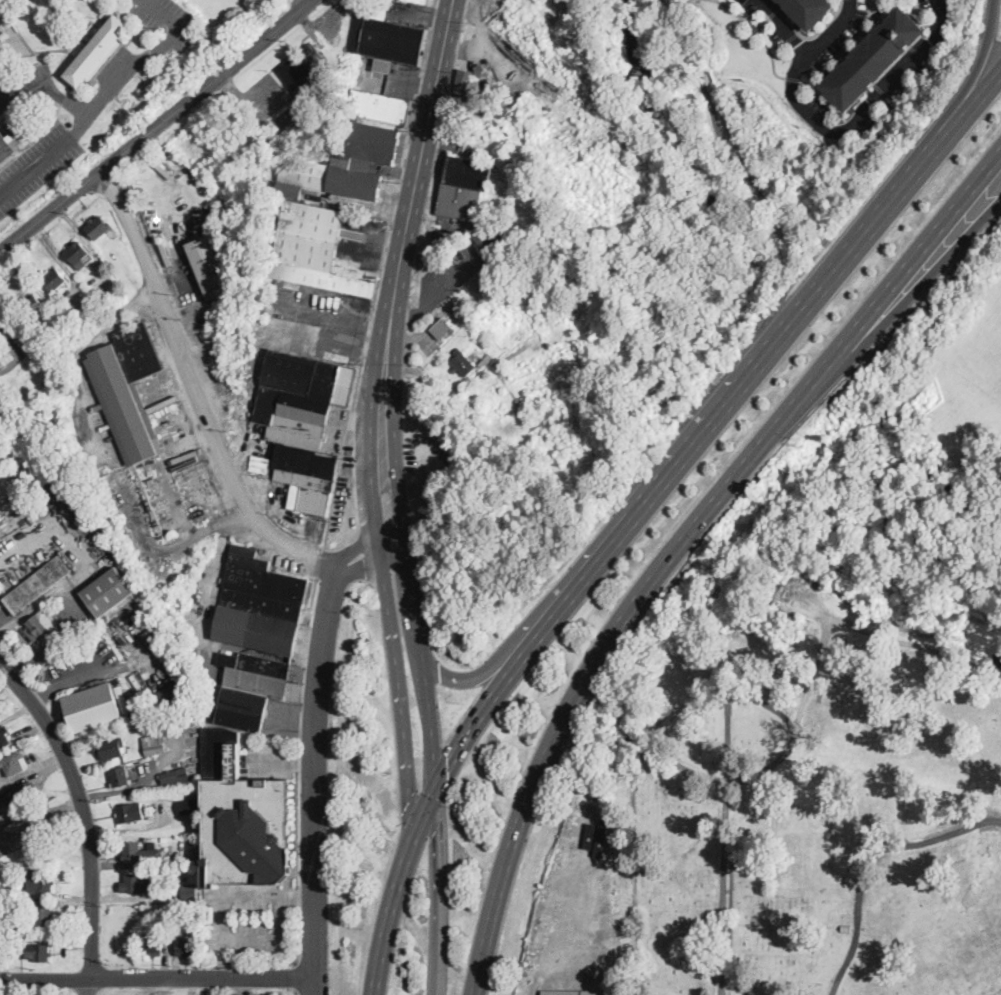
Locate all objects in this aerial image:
building: (421, 1)
building: (809, 10)
parking lot: (166, 19)
road: (168, 19)
road: (786, 26)
building: (755, 30)
road: (475, 32)
building: (384, 35)
building: (5, 36)
building: (98, 49)
road: (985, 49)
building: (874, 57)
building: (383, 63)
building: (481, 70)
park: (88, 74)
building: (309, 76)
road: (113, 81)
road: (415, 83)
road: (209, 84)
parking lot: (26, 85)
road: (19, 93)
building: (462, 95)
road: (62, 98)
road: (247, 102)
road: (973, 104)
building: (380, 107)
road: (954, 116)
road: (839, 128)
road: (720, 131)
building: (8, 146)
road: (35, 162)
parking lot: (36, 164)
building: (345, 164)
building: (468, 186)
road: (411, 207)
road: (54, 212)
building: (98, 227)
building: (493, 239)
building: (313, 249)
building: (78, 255)
building: (209, 267)
building: (55, 281)
building: (32, 306)
road: (897, 308)
road: (332, 318)
building: (441, 328)
building: (483, 343)
building: (136, 352)
road: (77, 358)
building: (484, 358)
building: (462, 363)
road: (826, 365)
road: (745, 386)
road: (910, 389)
building: (120, 406)
building: (303, 423)
road: (209, 424)
road: (867, 451)
road: (396, 479)
road: (375, 484)
road: (928, 547)
building: (36, 586)
building: (108, 591)
road: (415, 602)
building: (42, 626)
building: (258, 637)
road: (514, 652)
road: (452, 680)
road: (428, 694)
road: (400, 695)
building: (171, 696)
building: (123, 698)
building: (93, 707)
road: (484, 709)
building: (151, 724)
road: (794, 733)
building: (4, 738)
building: (158, 743)
building: (110, 748)
road: (434, 760)
building: (13, 763)
traffic signals: (449, 766)
road: (317, 769)
road: (539, 776)
building: (120, 777)
building: (175, 777)
road: (420, 778)
building: (21, 795)
traffic signals: (411, 801)
building: (189, 807)
park: (812, 809)
building: (130, 812)
road: (86, 816)
road: (424, 817)
building: (242, 818)
traffic signals: (437, 828)
building: (41, 831)
building: (8, 838)
building: (141, 853)
road: (868, 859)
building: (42, 881)
building: (140, 884)
building: (192, 892)
road: (439, 894)
building: (8, 896)
road: (297, 896)
road: (301, 896)
road: (390, 916)
building: (44, 917)
building: (805, 917)
building: (846, 927)
road: (221, 940)
building: (2, 945)
building: (153, 947)
building: (186, 948)
building: (38, 952)
road: (221, 960)
road: (158, 978)
road: (203, 986)
road: (315, 986)
building: (582, 992)
parking lot: (212, 994)
building: (246, 994)

